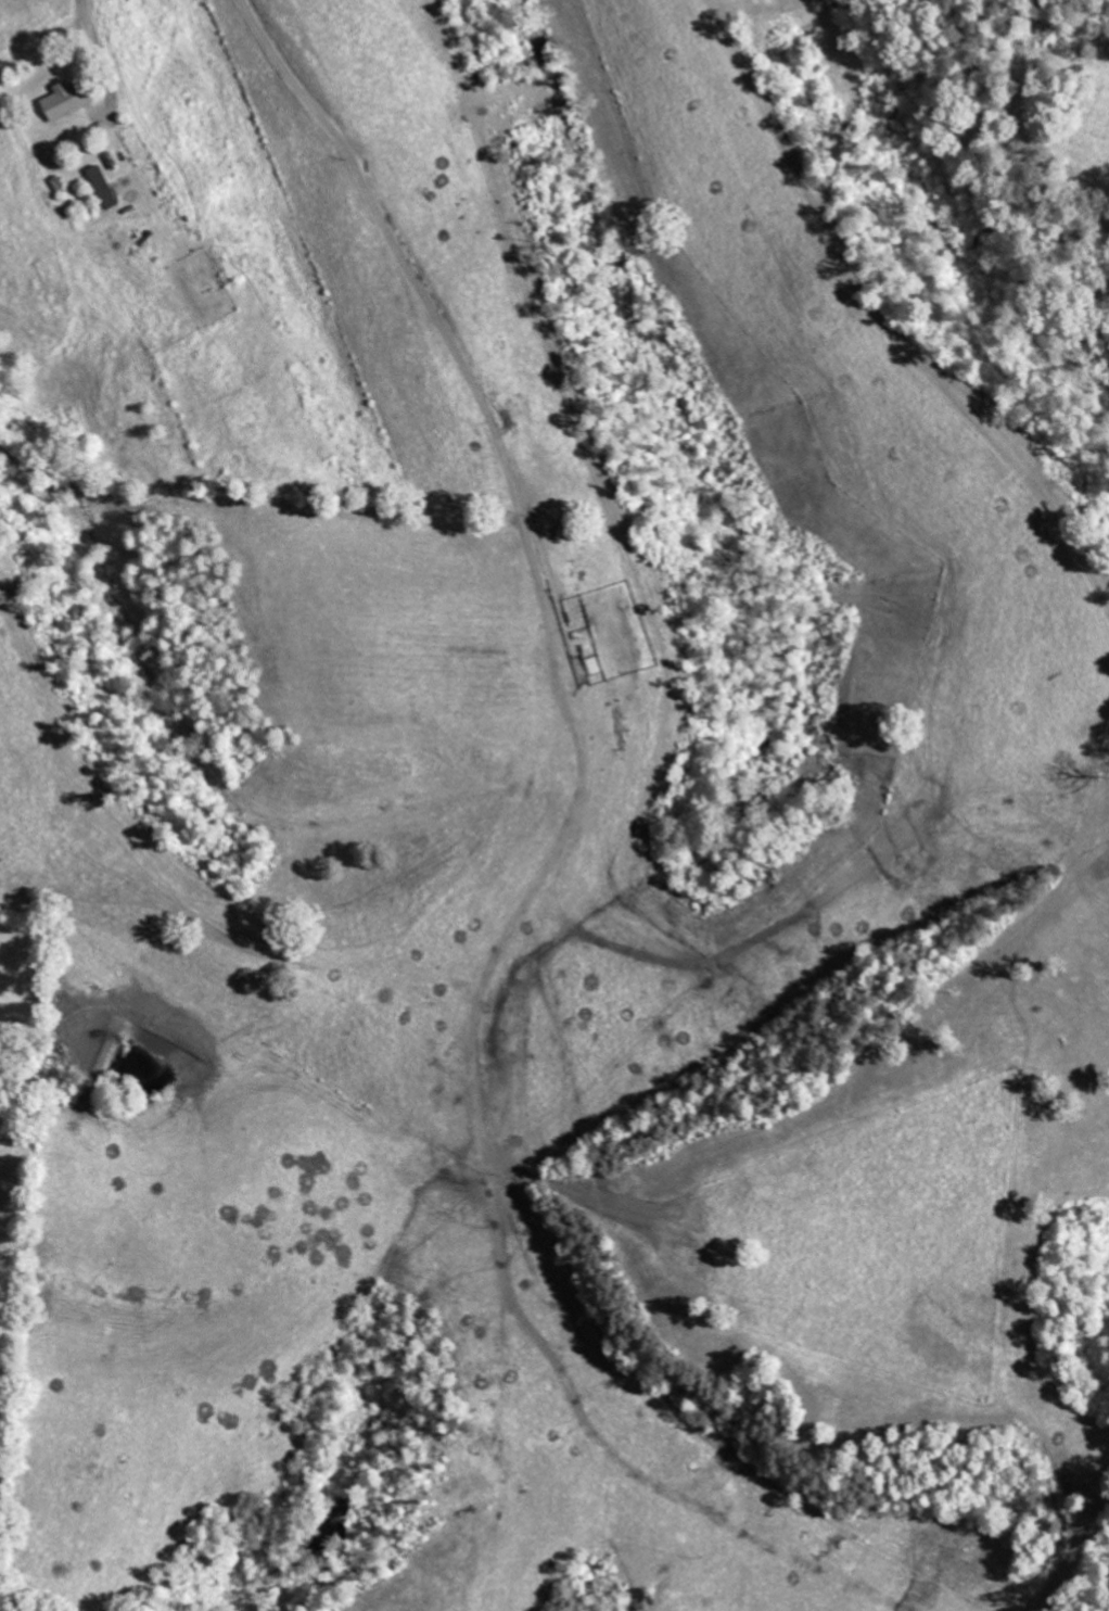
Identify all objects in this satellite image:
building: (72, 100)
building: (109, 187)

